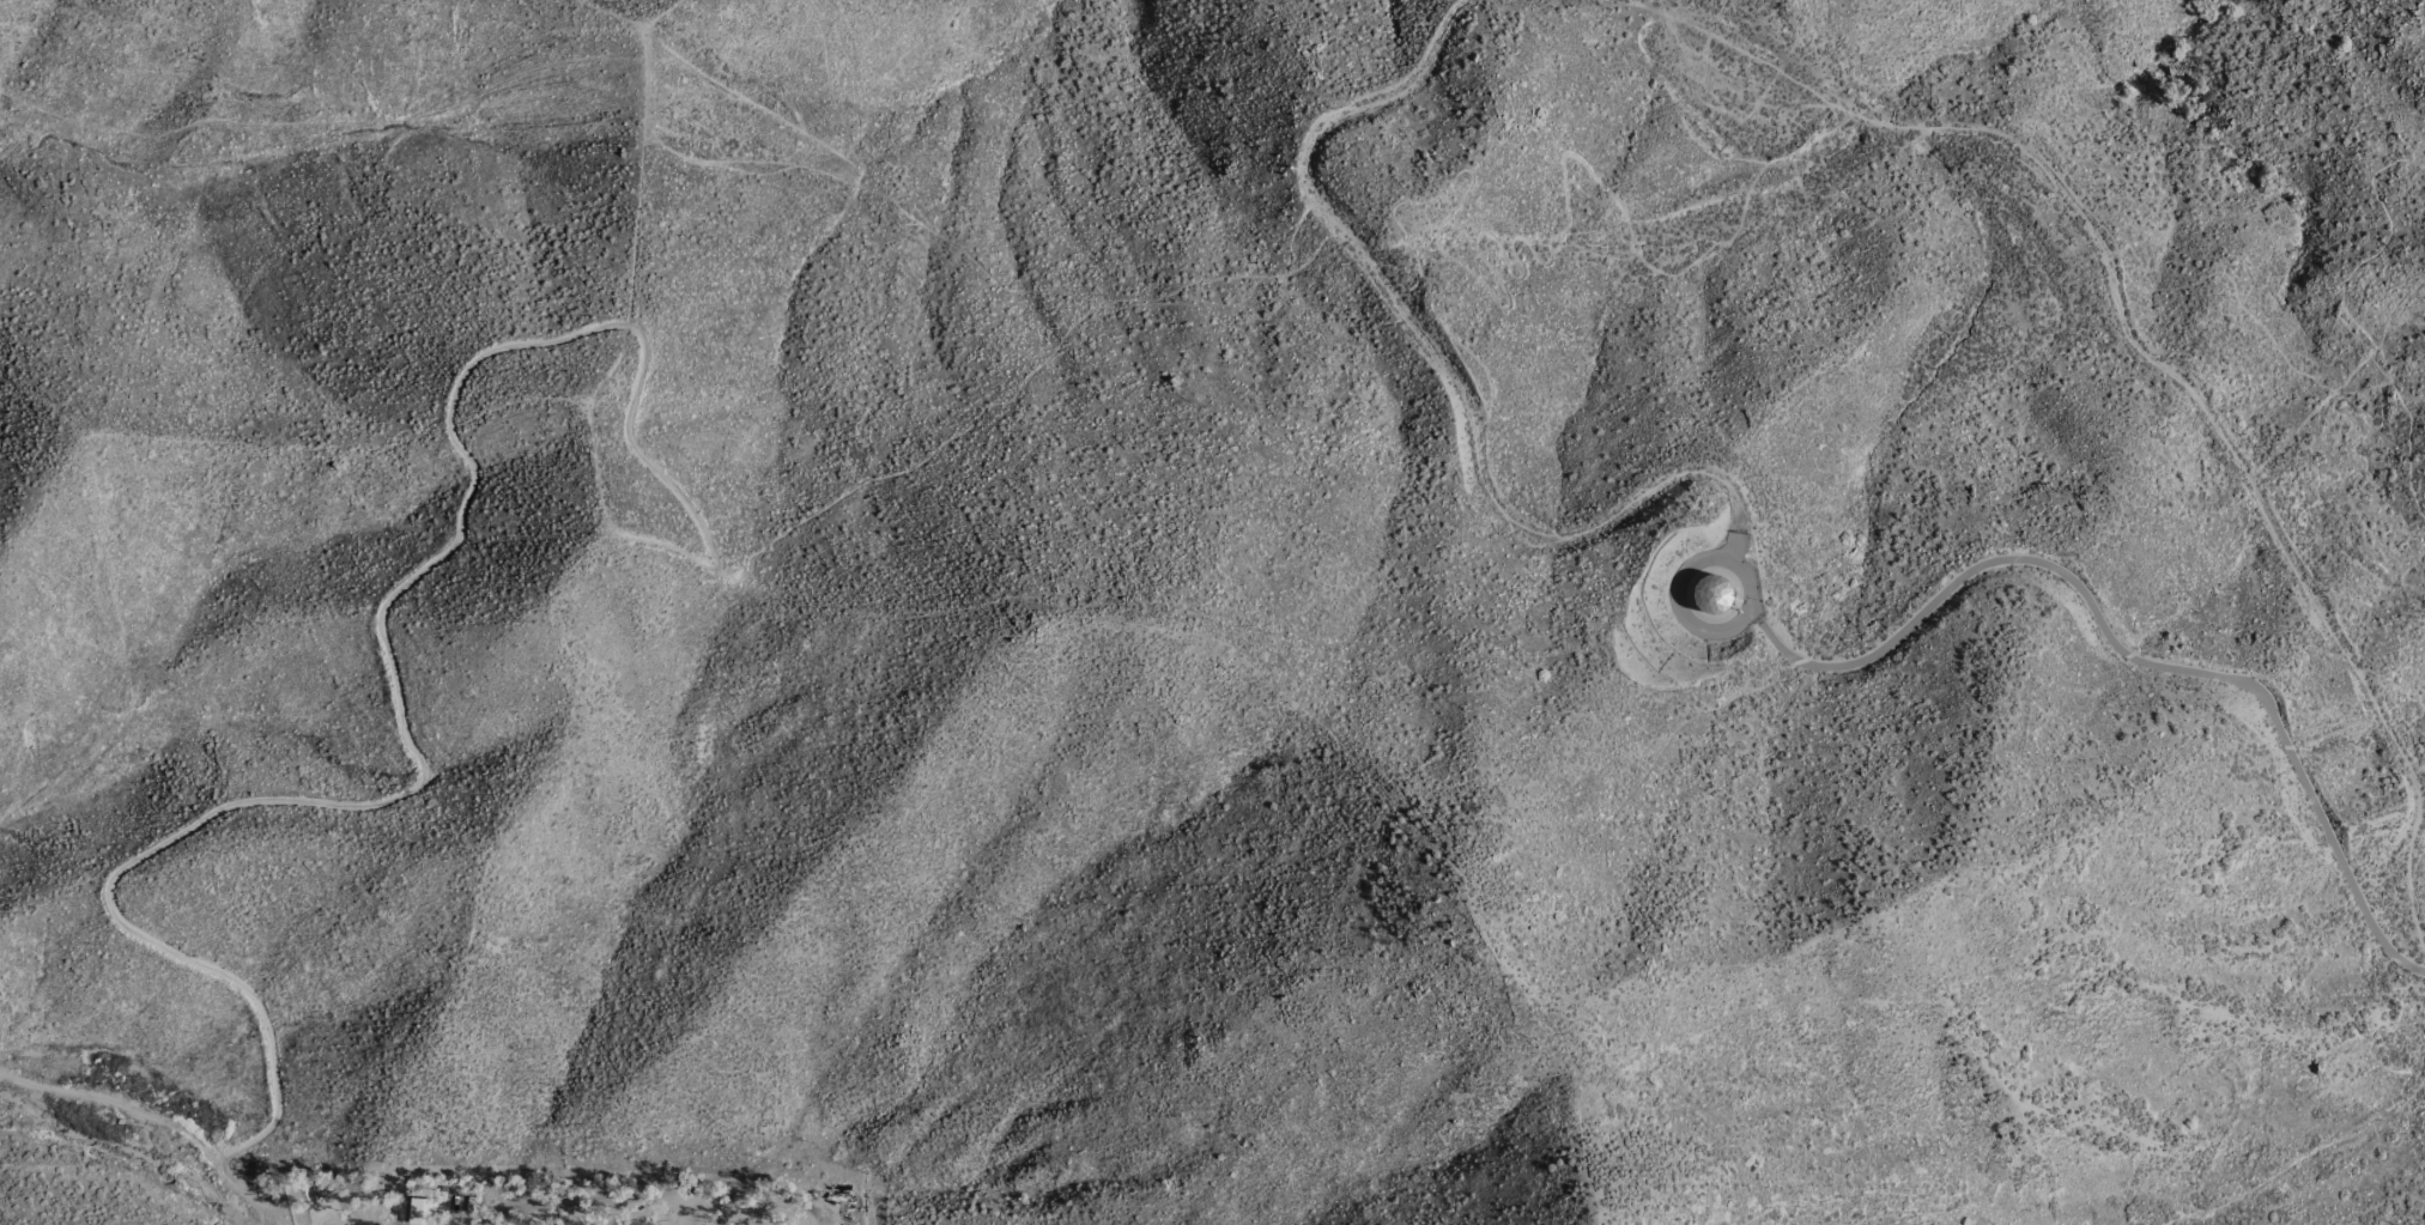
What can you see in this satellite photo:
road: (1735, 51)
road: (1623, 206)
road: (2338, 316)
road: (1433, 357)
road: (2256, 495)
road: (2098, 615)
building: (420, 1212)

